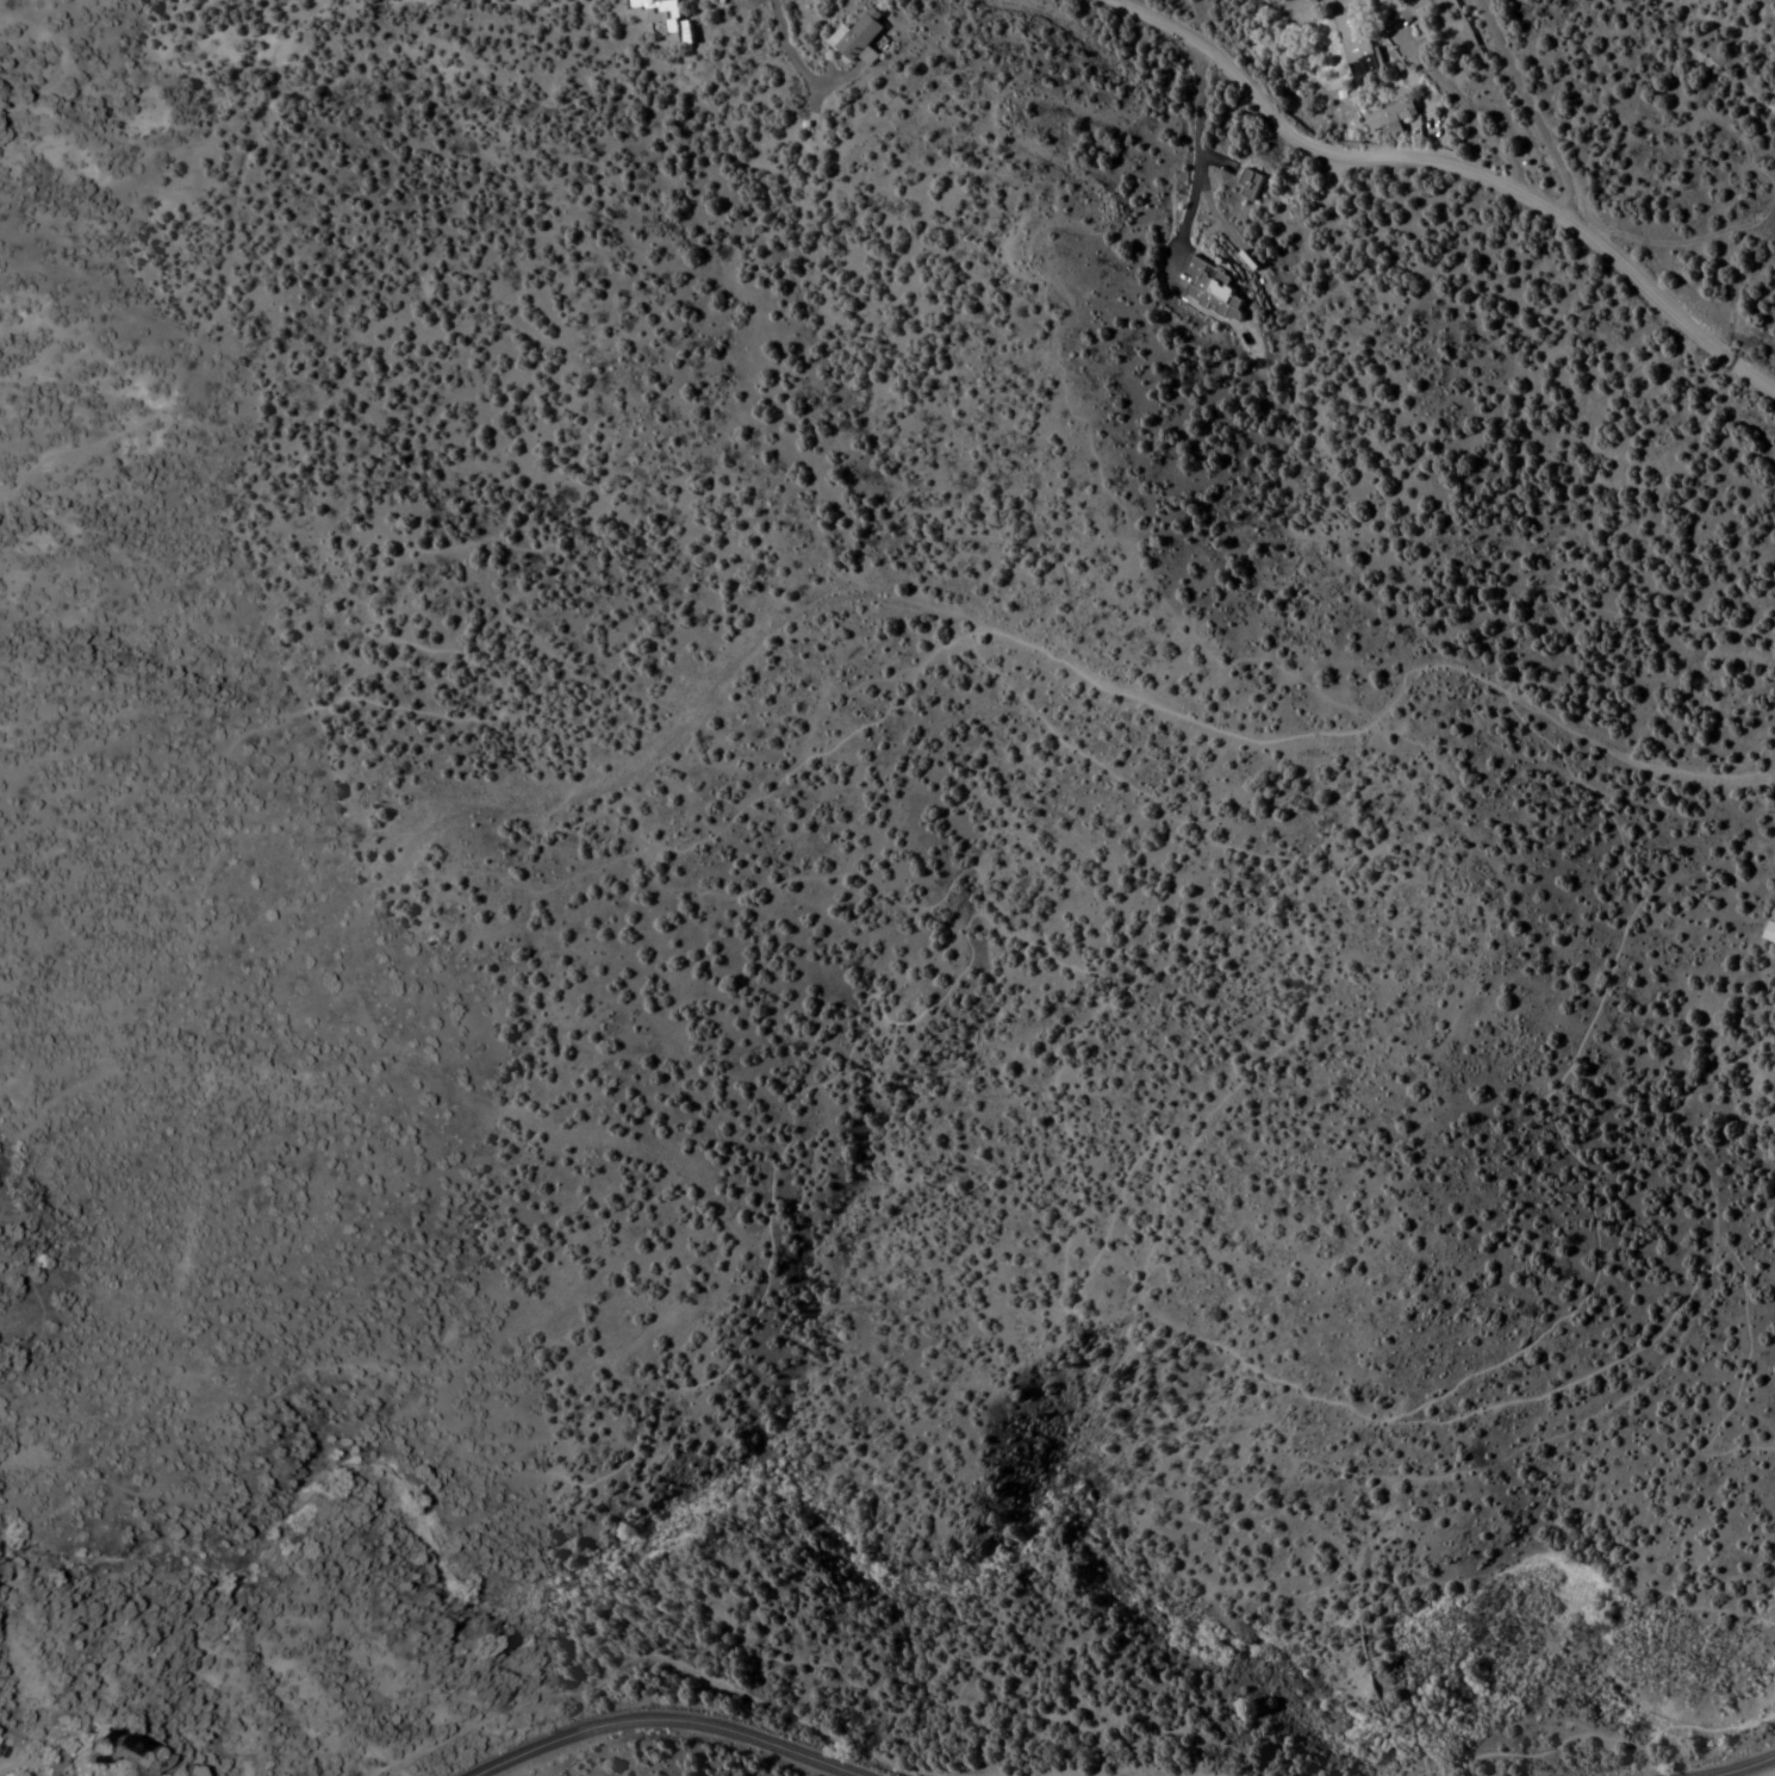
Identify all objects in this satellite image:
building: (679, 26)
building: (859, 35)
building: (1357, 48)
road: (1526, 105)
building: (1390, 116)
road: (1455, 164)
building: (1250, 182)
building: (1213, 288)
building: (1773, 926)
park: (936, 1023)
dam: (1405, 1689)
road: (664, 1719)
building: (130, 1753)
building: (54, 1764)
road: (1739, 1768)
building: (186, 1770)

